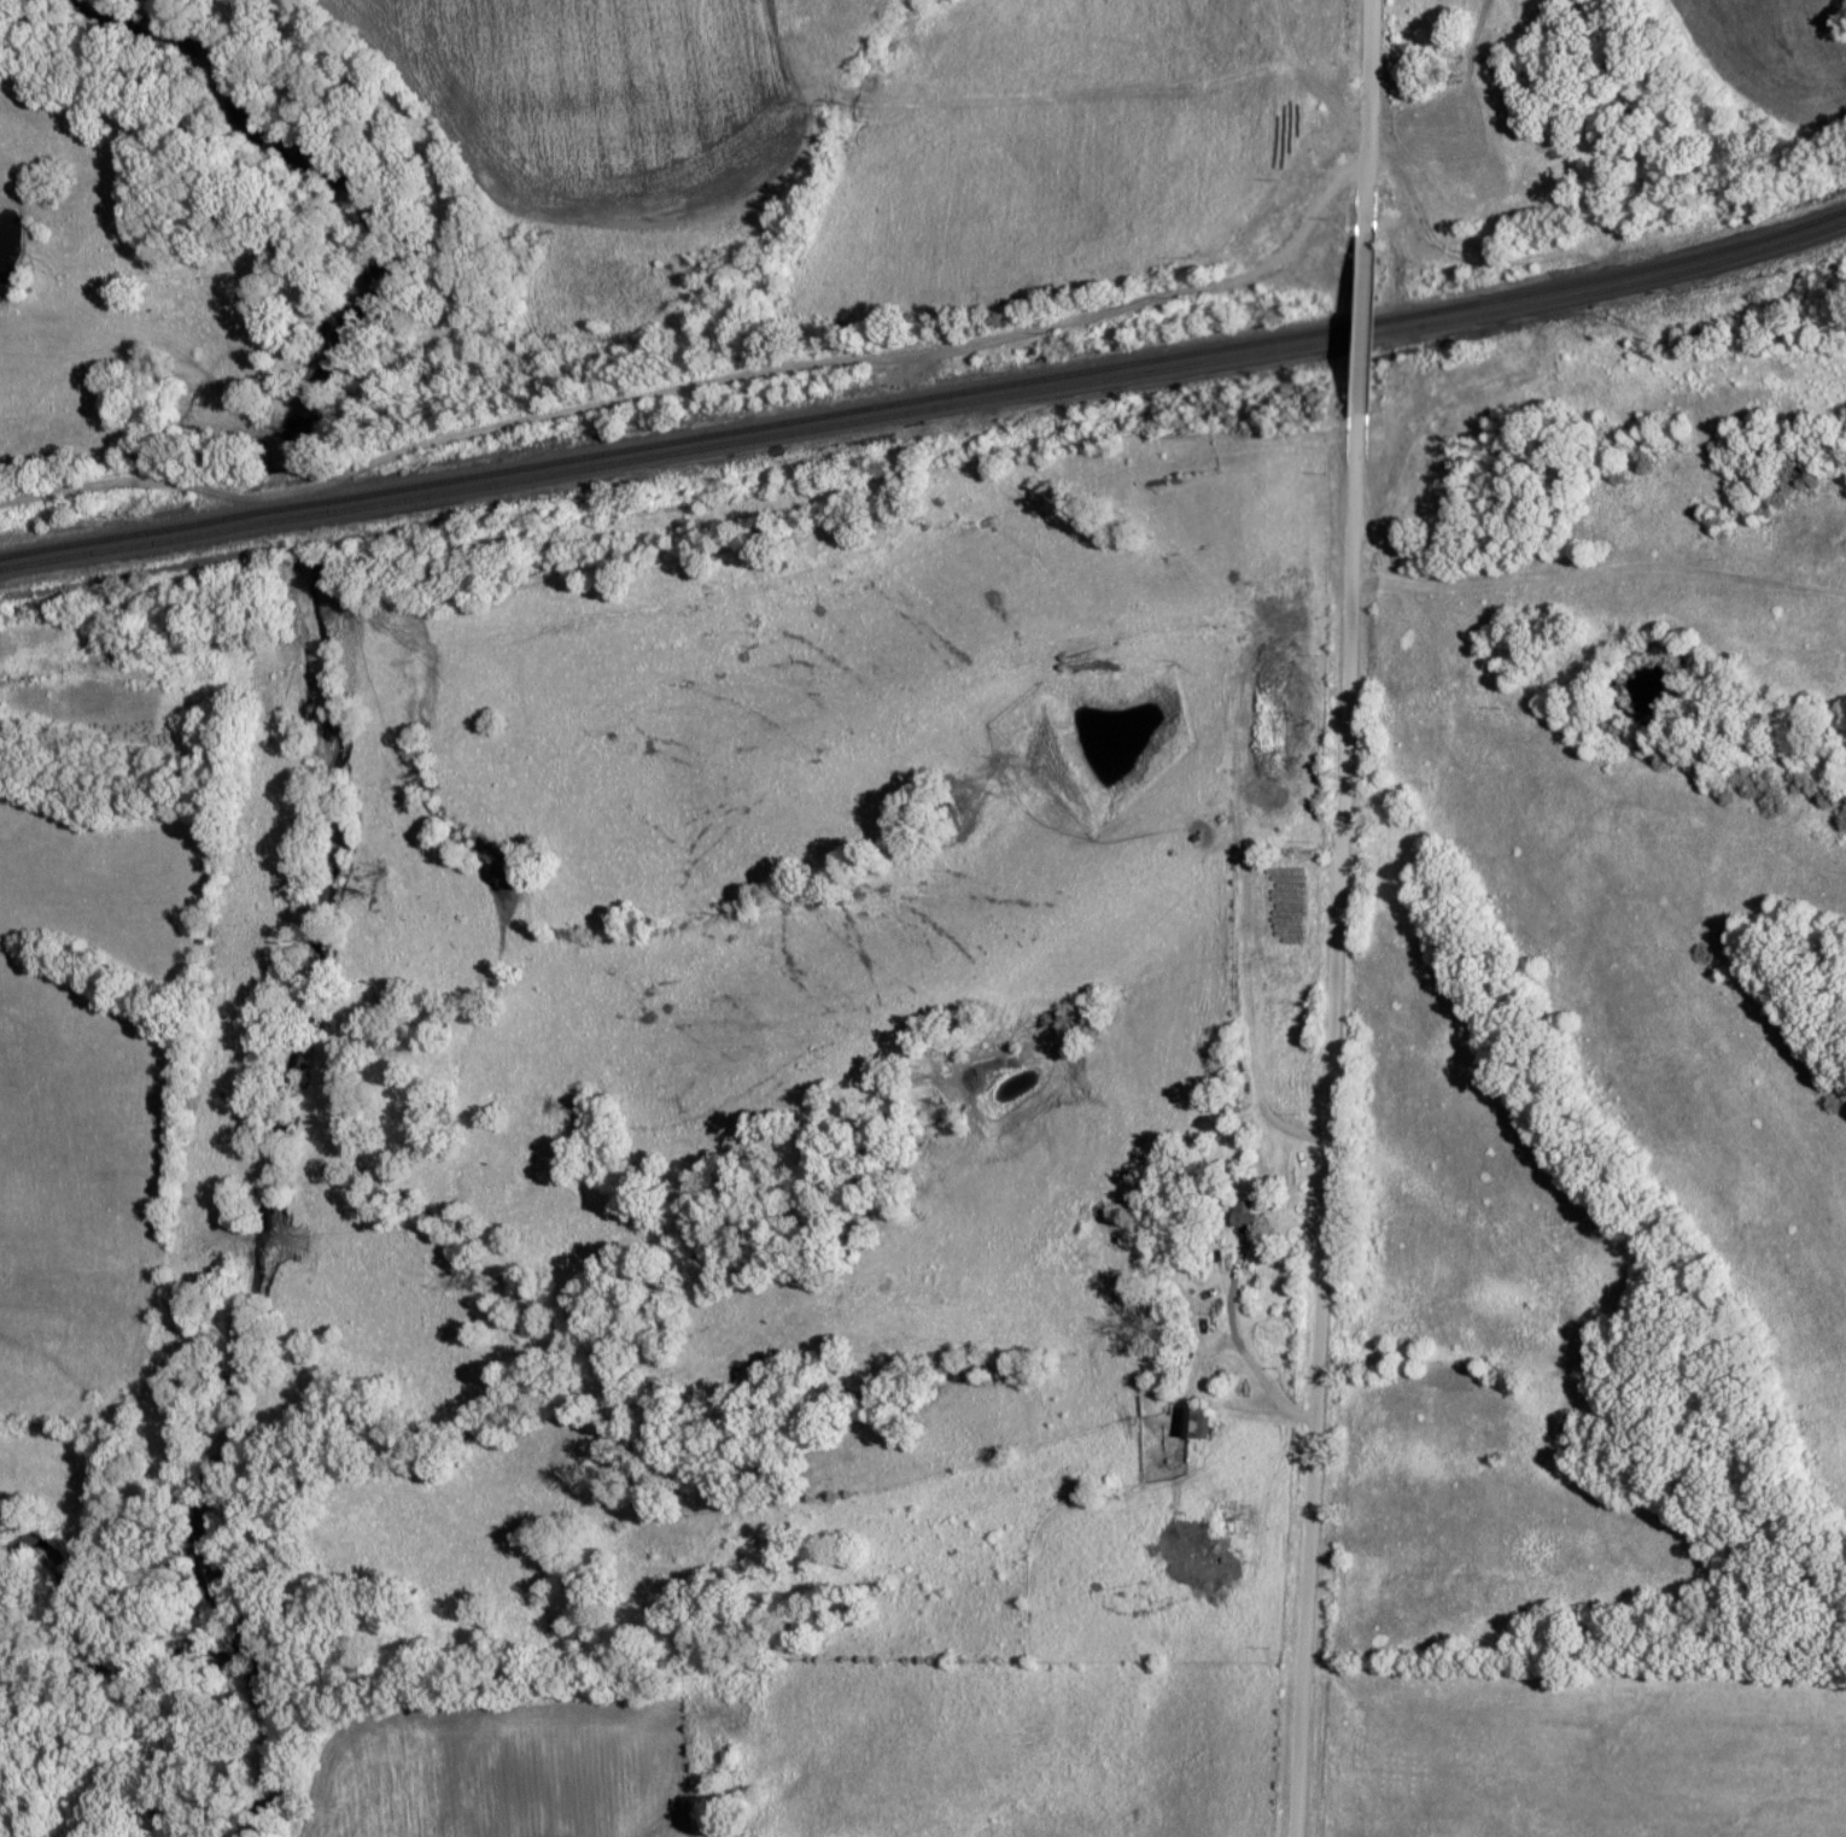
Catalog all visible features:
road: (1381, 134)
road: (1415, 315)
road: (699, 384)
railway: (925, 399)
railway: (925, 410)
road: (1326, 1092)
building: (1249, 1217)
building: (1199, 1423)

